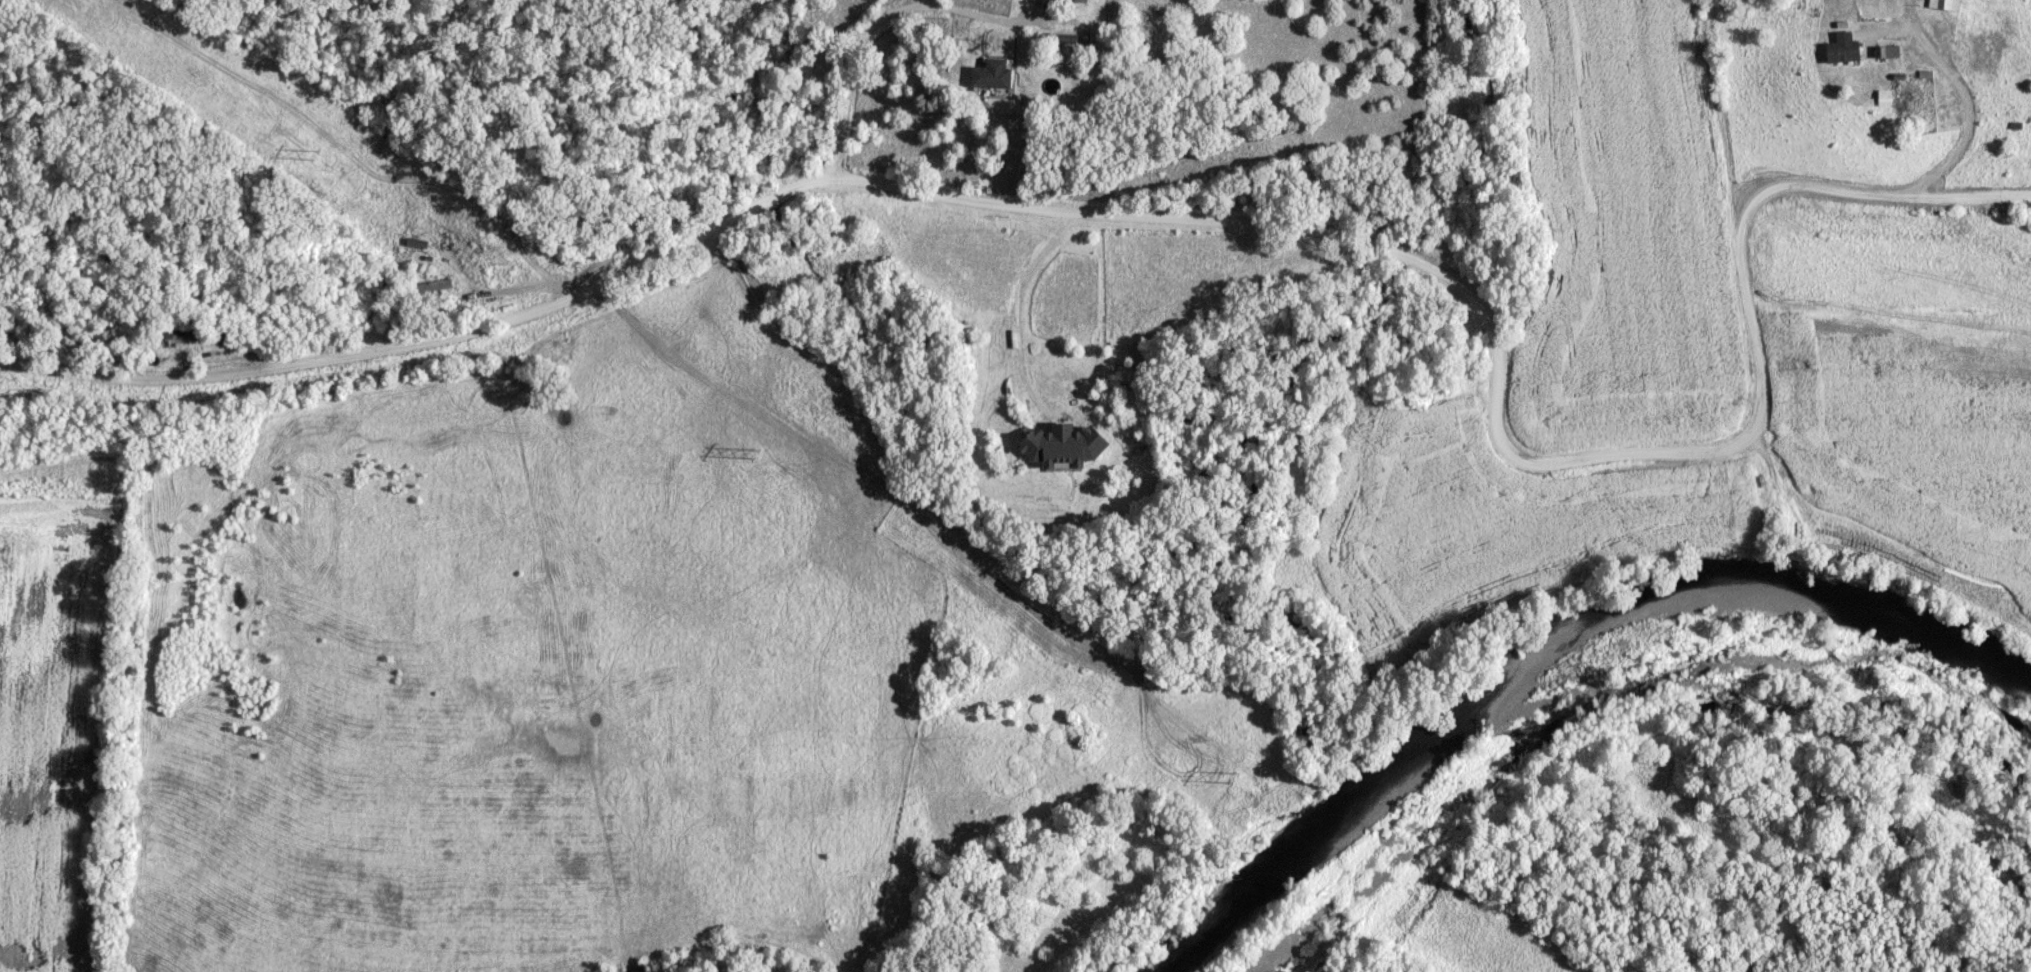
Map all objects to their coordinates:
building: (1074, 2)
building: (1945, 5)
road: (883, 20)
building: (1856, 48)
building: (1887, 51)
building: (990, 74)
road: (1970, 202)
road: (1239, 223)
power tower: (464, 252)
building: (427, 288)
road: (1021, 302)
building: (172, 336)
building: (1062, 446)
power tower: (1261, 789)

